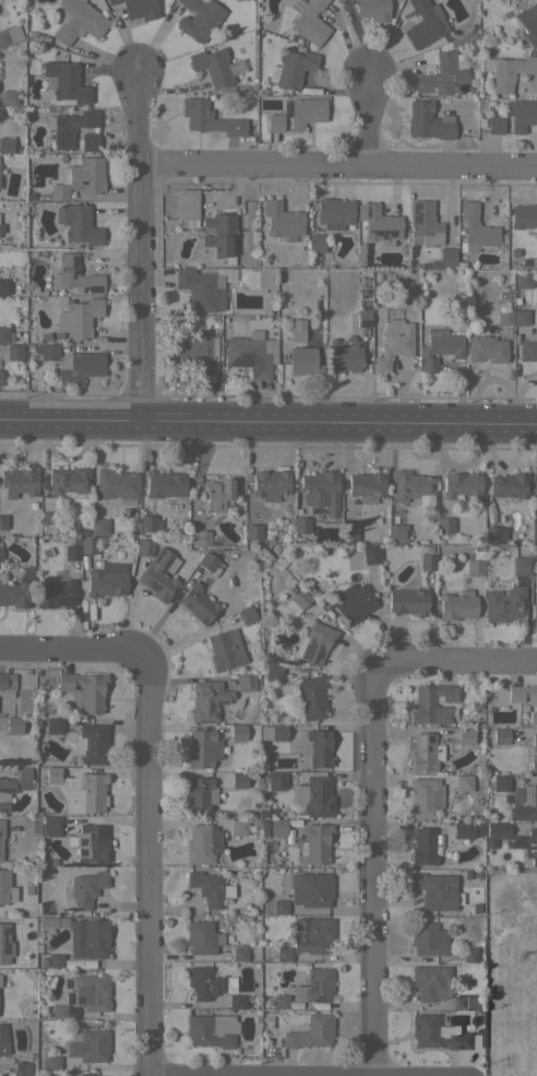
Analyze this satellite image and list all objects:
building: (337, 0)
building: (138, 8)
building: (373, 9)
building: (199, 17)
building: (309, 20)
building: (79, 21)
building: (528, 21)
building: (425, 23)
building: (10, 35)
building: (216, 66)
building: (291, 68)
building: (448, 71)
building: (511, 71)
building: (64, 81)
building: (421, 84)
building: (8, 97)
building: (306, 111)
building: (521, 114)
road: (368, 117)
building: (208, 118)
building: (428, 121)
rooftop solar panel: (58, 122)
building: (274, 122)
building: (70, 125)
rooftop solar panel: (92, 125)
building: (494, 125)
building: (89, 141)
rooftop solar panel: (59, 142)
building: (5, 144)
road: (337, 167)
building: (80, 178)
building: (187, 206)
rooftop solar panel: (367, 210)
building: (334, 212)
building: (524, 217)
building: (281, 218)
building: (77, 223)
building: (379, 224)
building: (423, 224)
building: (1, 228)
building: (475, 229)
rooftop solar panel: (384, 234)
building: (220, 235)
building: (315, 243)
road: (139, 246)
building: (536, 256)
building: (446, 257)
rooftop solar panel: (74, 261)
rooftop solar panel: (75, 267)
rooftop solar panel: (75, 273)
building: (74, 275)
building: (522, 280)
building: (4, 286)
rooftop solar panel: (93, 288)
building: (200, 289)
building: (503, 317)
building: (521, 317)
building: (77, 318)
building: (362, 318)
building: (297, 330)
building: (4, 333)
building: (395, 342)
building: (527, 346)
building: (439, 347)
building: (486, 348)
building: (14, 352)
building: (48, 352)
building: (196, 352)
building: (252, 353)
building: (346, 354)
building: (303, 360)
building: (80, 366)
building: (0, 377)
road: (267, 422)
building: (20, 482)
building: (116, 484)
building: (164, 484)
building: (270, 484)
building: (461, 484)
building: (510, 485)
building: (367, 486)
building: (414, 487)
building: (320, 490)
building: (218, 494)
building: (48, 506)
building: (3, 521)
building: (150, 523)
building: (301, 524)
building: (444, 524)
building: (99, 527)
building: (253, 531)
building: (348, 532)
building: (397, 533)
building: (496, 534)
building: (201, 537)
building: (88, 545)
building: (144, 547)
building: (72, 552)
building: (1, 554)
building: (370, 555)
building: (207, 561)
building: (427, 561)
building: (475, 563)
building: (521, 566)
building: (159, 575)
building: (107, 580)
rooftop solar panel: (155, 587)
building: (15, 593)
building: (55, 593)
building: (298, 601)
building: (408, 601)
building: (353, 602)
building: (198, 603)
building: (504, 603)
building: (535, 603)
building: (457, 605)
building: (246, 615)
building: (314, 643)
rooftop solar panel: (307, 648)
building: (225, 649)
road: (74, 652)
rooftop solar panel: (317, 654)
road: (453, 661)
building: (273, 673)
building: (246, 681)
building: (7, 684)
building: (84, 690)
building: (524, 696)
building: (311, 697)
building: (207, 700)
rooftop solar panel: (222, 701)
building: (433, 703)
rooftop solar panel: (210, 707)
rooftop solar panel: (216, 713)
rooftop solar panel: (205, 721)
building: (14, 724)
building: (53, 725)
building: (238, 732)
building: (273, 732)
building: (466, 735)
building: (501, 735)
rooftop solar panel: (421, 740)
building: (92, 743)
building: (202, 748)
building: (315, 748)
building: (426, 752)
building: (530, 752)
building: (239, 779)
building: (276, 781)
building: (464, 782)
building: (501, 782)
building: (13, 784)
building: (79, 790)
building: (200, 795)
building: (315, 796)
building: (425, 797)
building: (525, 803)
building: (31, 826)
building: (50, 826)
building: (238, 826)
building: (277, 827)
building: (263, 828)
building: (463, 829)
building: (494, 831)
rooftop solar panel: (102, 833)
building: (1, 836)
building: (89, 843)
building: (202, 843)
building: (314, 843)
rooftop solar panel: (84, 844)
building: (423, 846)
building: (530, 846)
rooftop solar panel: (83, 853)
road: (147, 868)
road: (375, 872)
building: (3, 885)
building: (210, 887)
building: (86, 888)
building: (437, 890)
building: (307, 892)
building: (52, 921)
building: (310, 934)
building: (202, 937)
building: (87, 938)
building: (428, 938)
building: (5, 942)
building: (239, 954)
building: (281, 954)
building: (470, 955)
building: (55, 960)
building: (429, 981)
building: (207, 982)
rooftop solar panel: (69, 984)
building: (315, 985)
building: (87, 992)
rooftop solar panel: (69, 996)
rooftop solar panel: (80, 1000)
building: (236, 1001)
building: (279, 1001)
building: (466, 1002)
rooftop solar panel: (74, 1009)
building: (62, 1012)
building: (423, 1024)
building: (211, 1030)
building: (311, 1031)
building: (3, 1040)
building: (89, 1045)
building: (51, 1063)
building: (21, 1068)

